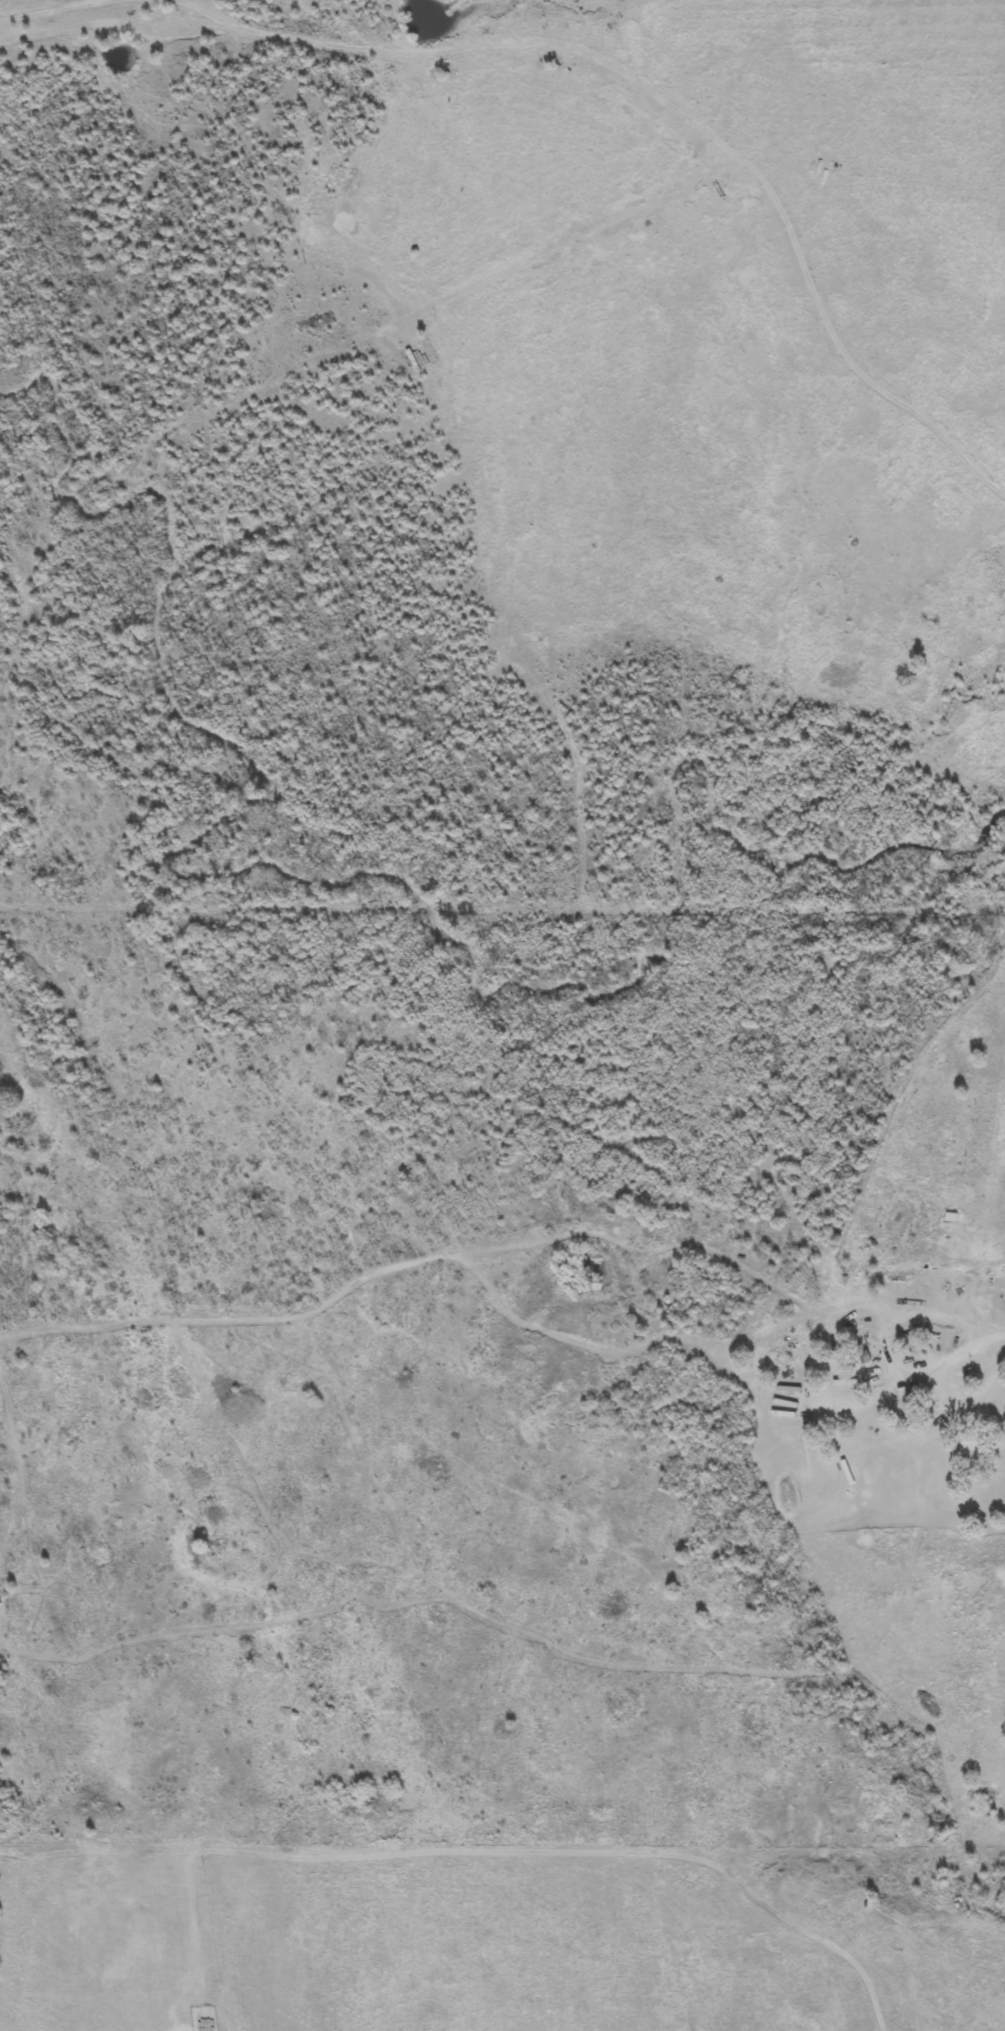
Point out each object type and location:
building: (950, 1216)
building: (863, 1356)
building: (905, 1407)

